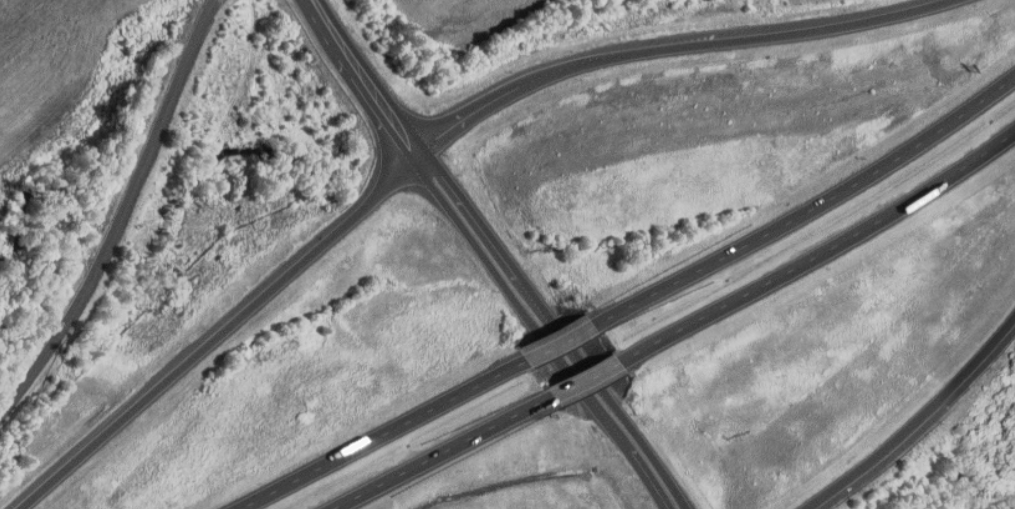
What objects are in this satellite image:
road: (442, 140)
road: (809, 213)
road: (121, 218)
road: (489, 253)
road: (822, 256)
road: (560, 347)
road: (588, 383)
road: (921, 426)
road: (386, 437)
road: (455, 455)

